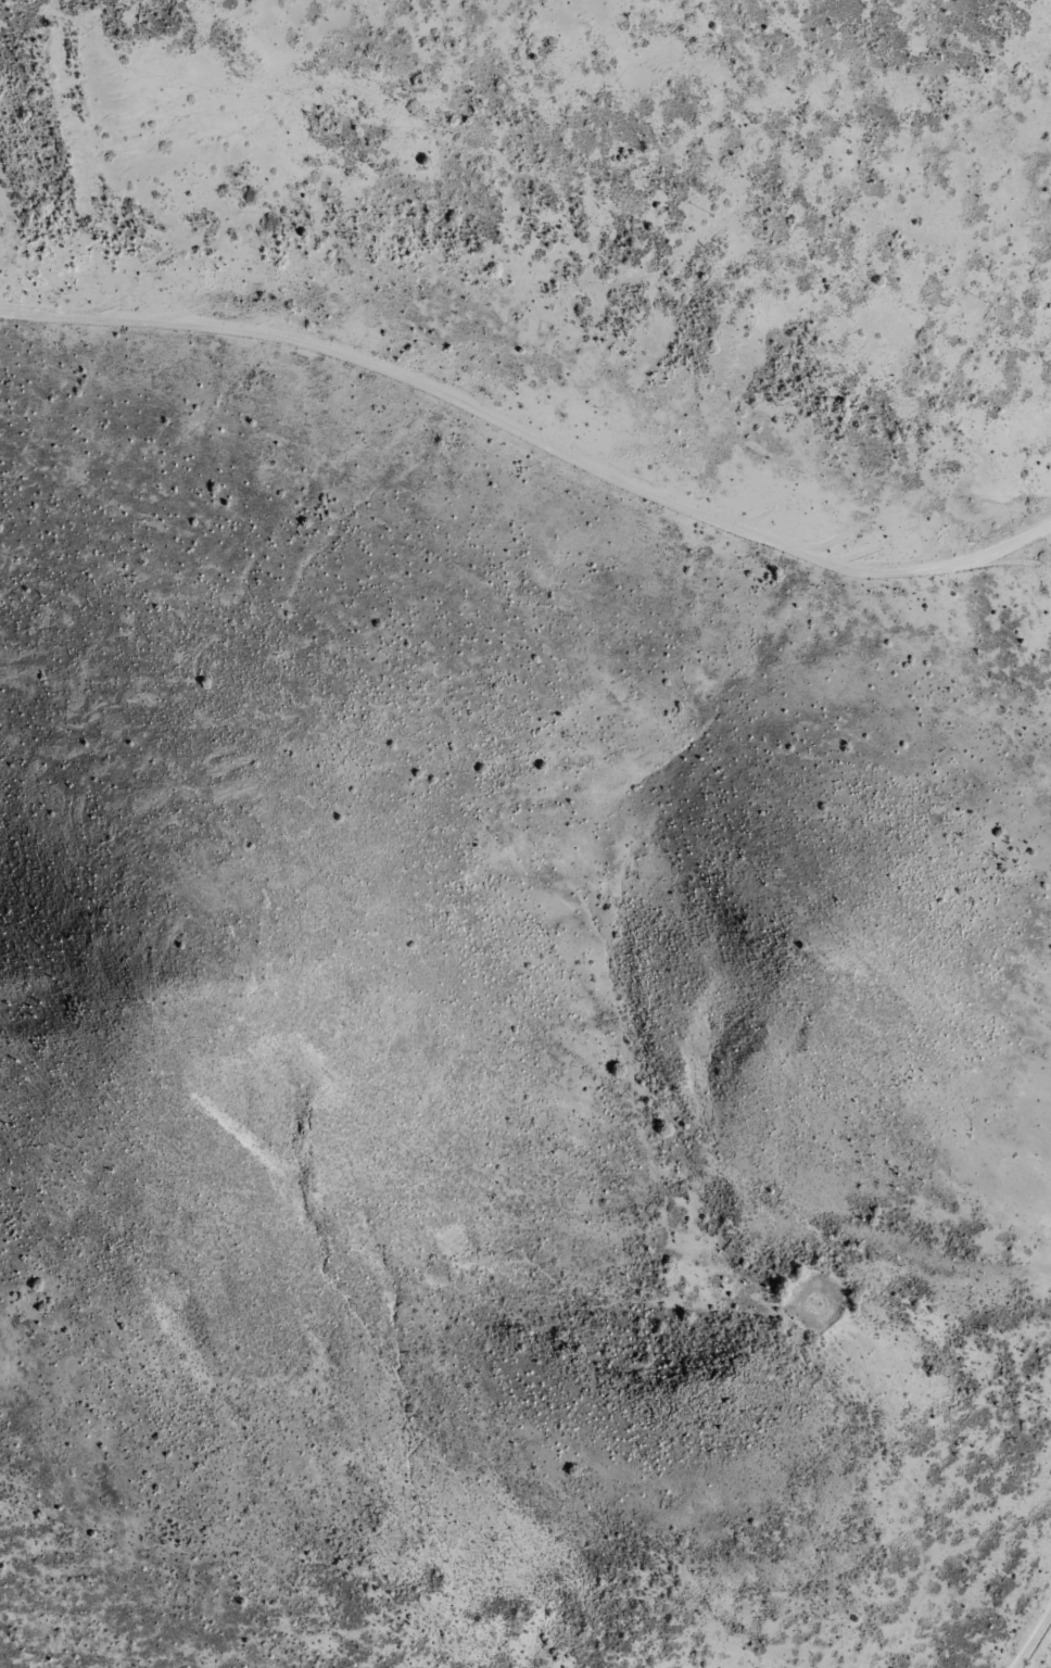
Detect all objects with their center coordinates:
road: (531, 454)
road: (1026, 1628)

